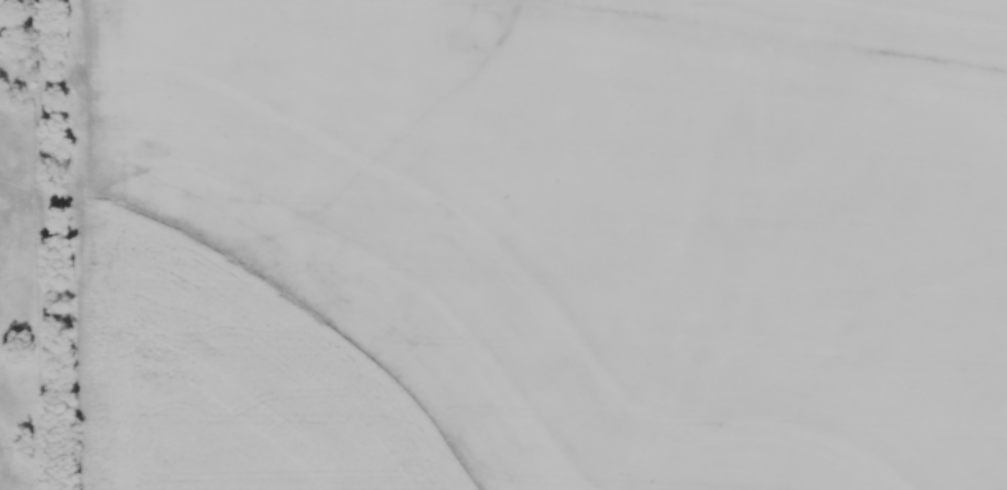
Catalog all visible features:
road: (43, 5)
road: (49, 250)

